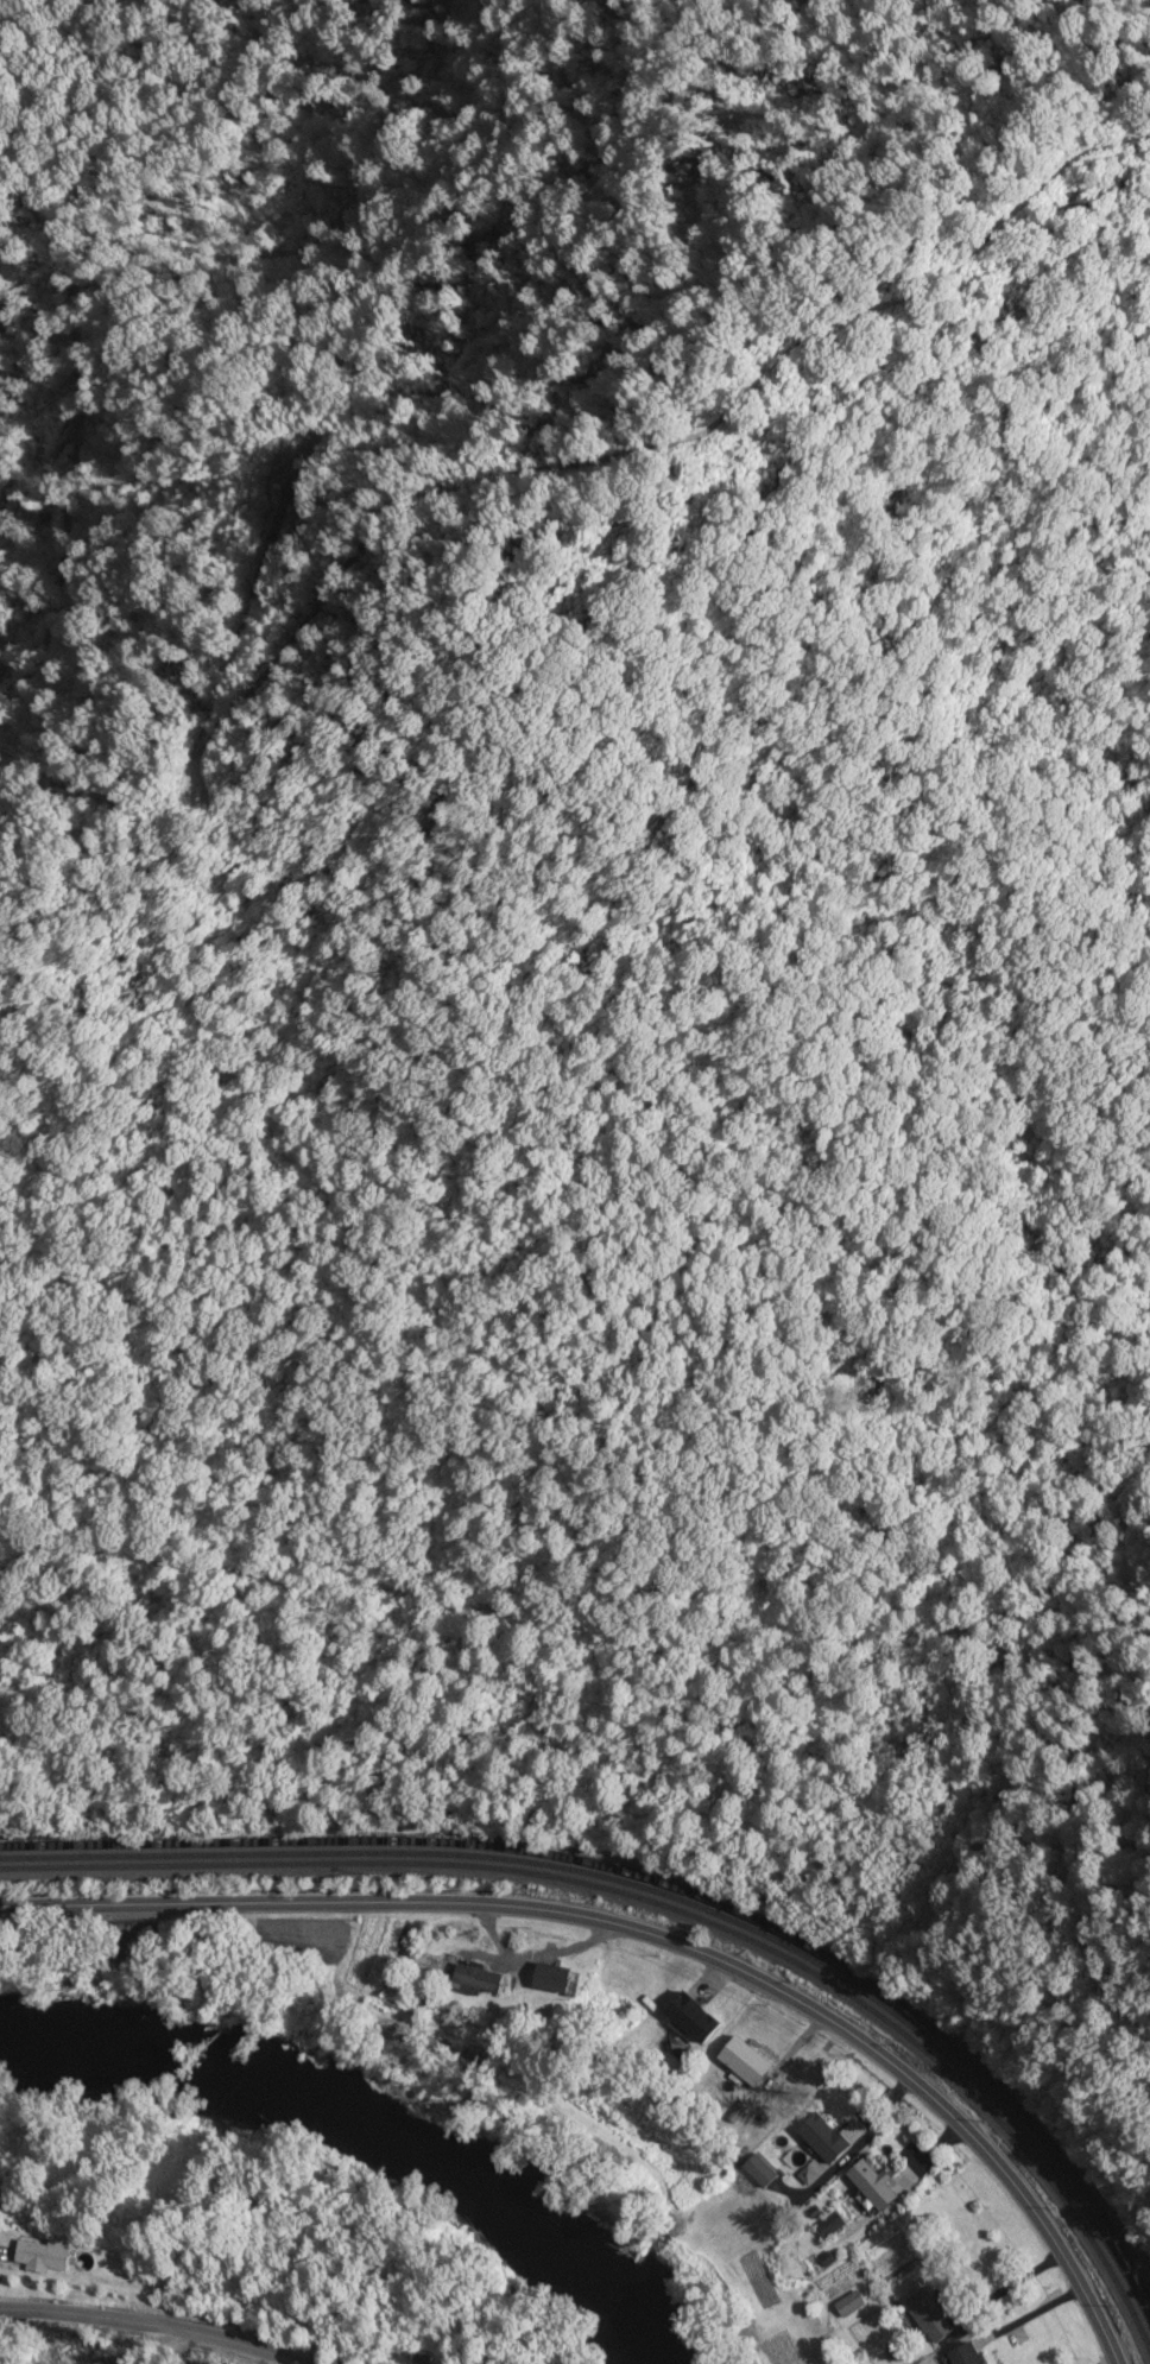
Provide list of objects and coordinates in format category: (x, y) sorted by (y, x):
railway: (137, 1841)
railway: (666, 1897)
railway: (672, 1909)
railway: (788, 1934)
road: (647, 1935)
building: (485, 1979)
building: (557, 1980)
building: (700, 2019)
building: (751, 2062)
building: (829, 2138)
river: (361, 2142)
building: (764, 2172)
building: (879, 2186)
building: (832, 2225)
building: (40, 2257)
building: (842, 2307)
building: (920, 2318)
road: (157, 2328)
building: (953, 2356)

